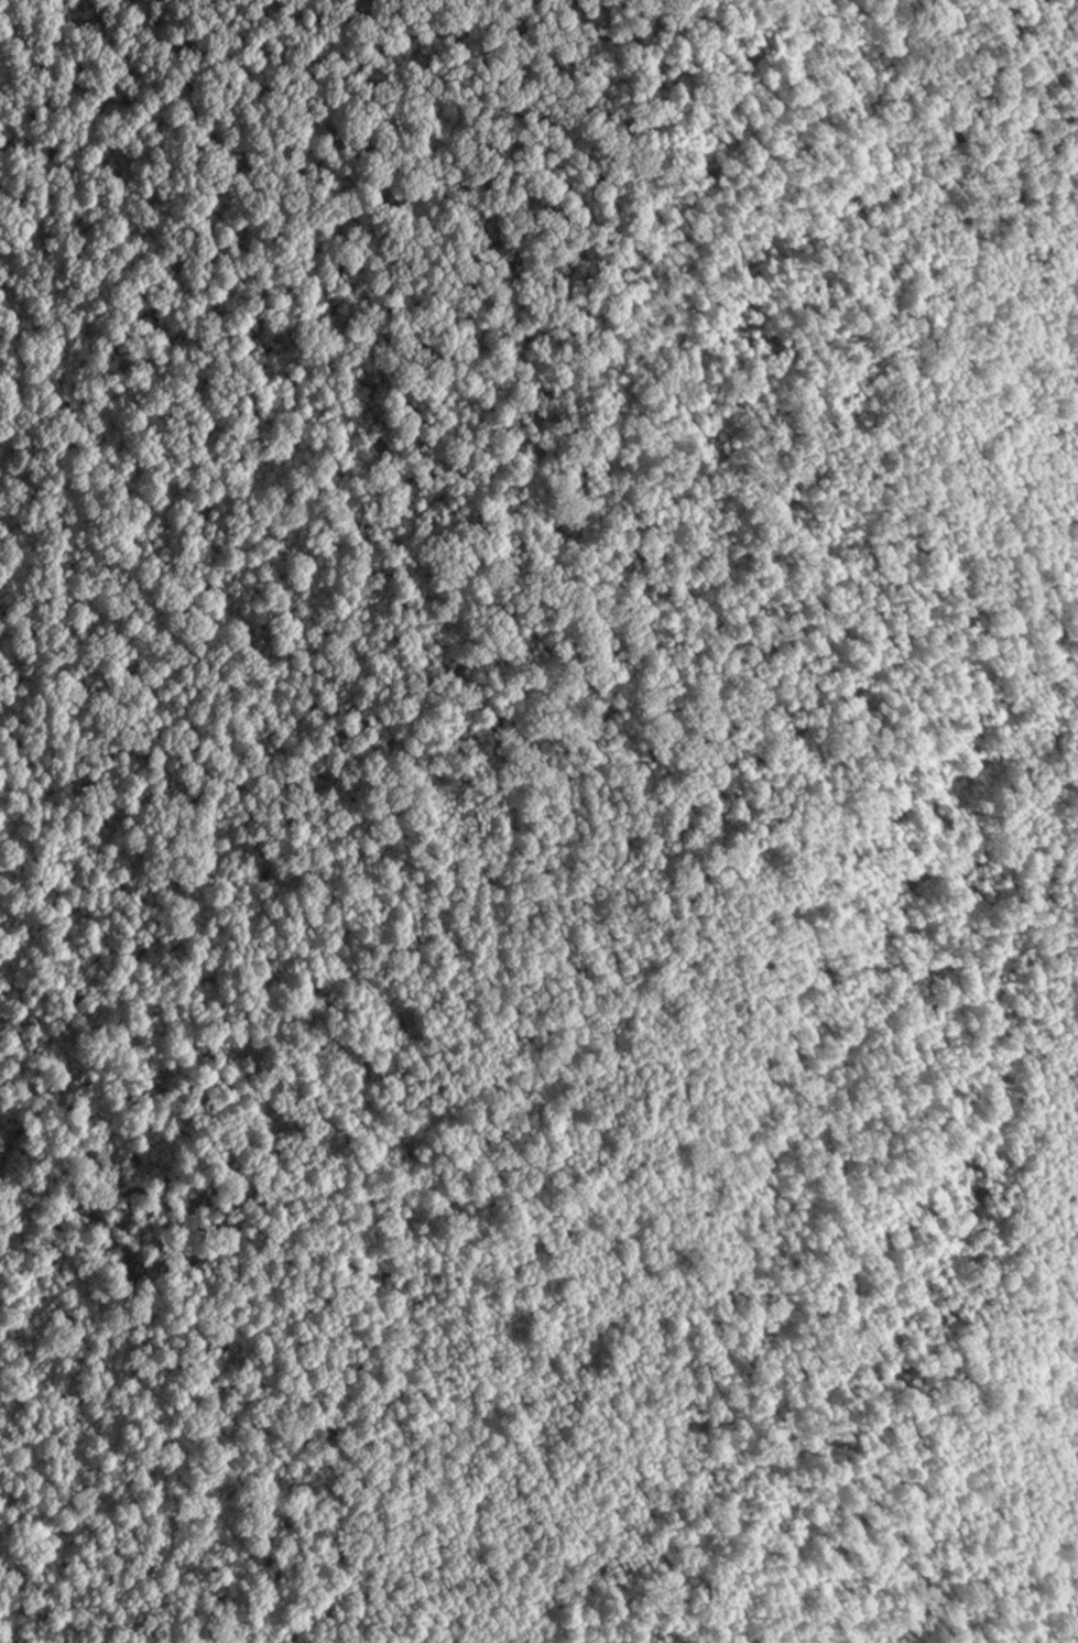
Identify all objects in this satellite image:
road: (869, 100)
road: (780, 303)
road: (904, 326)
road: (719, 1011)

